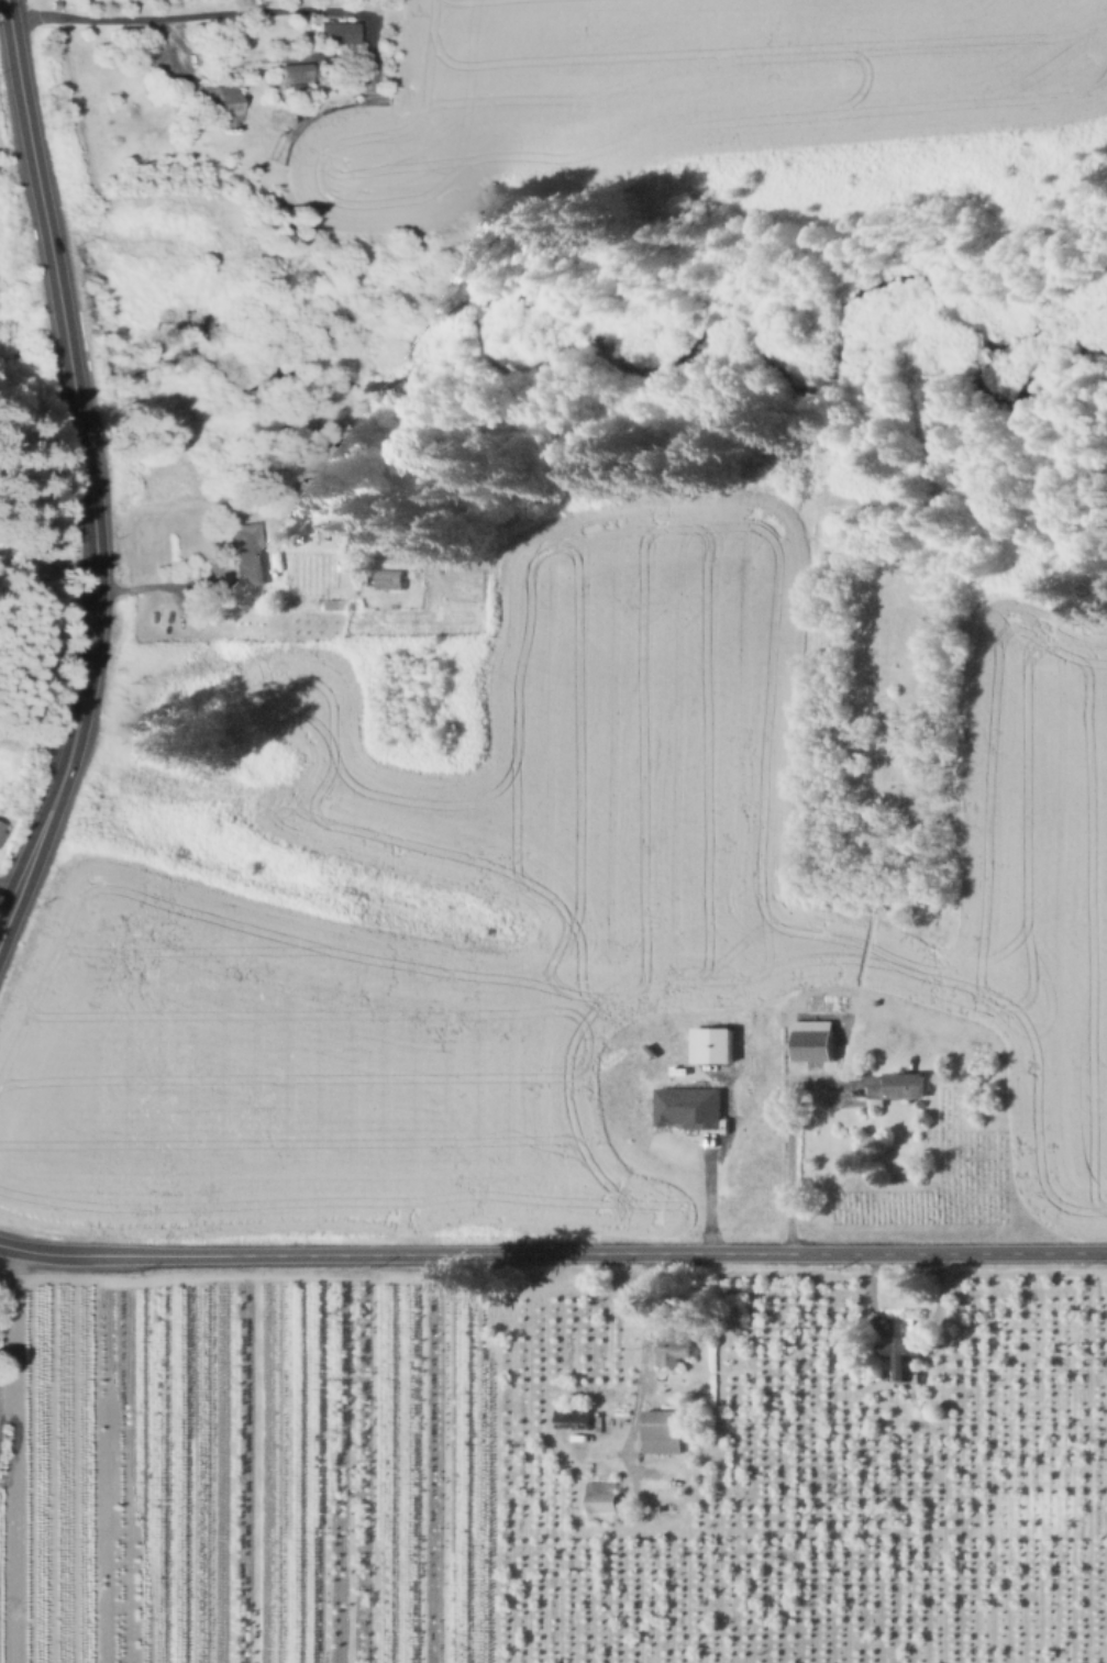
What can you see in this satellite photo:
road: (4, 8)
road: (208, 12)
building: (339, 33)
road: (176, 49)
building: (297, 73)
crop: (685, 92)
road: (24, 96)
building: (223, 103)
road: (59, 301)
building: (250, 554)
road: (97, 573)
building: (392, 579)
road: (156, 584)
building: (339, 603)
road: (59, 783)
building: (2, 830)
crop: (588, 871)
road: (21, 879)
crop: (1027, 897)
building: (813, 1039)
building: (711, 1043)
building: (647, 1050)
building: (897, 1090)
road: (839, 1093)
building: (687, 1106)
road: (759, 1118)
road: (790, 1126)
road: (713, 1158)
road: (553, 1252)
road: (3, 1301)
building: (674, 1346)
building: (909, 1349)
road: (641, 1364)
building: (572, 1417)
building: (662, 1430)
building: (601, 1499)

